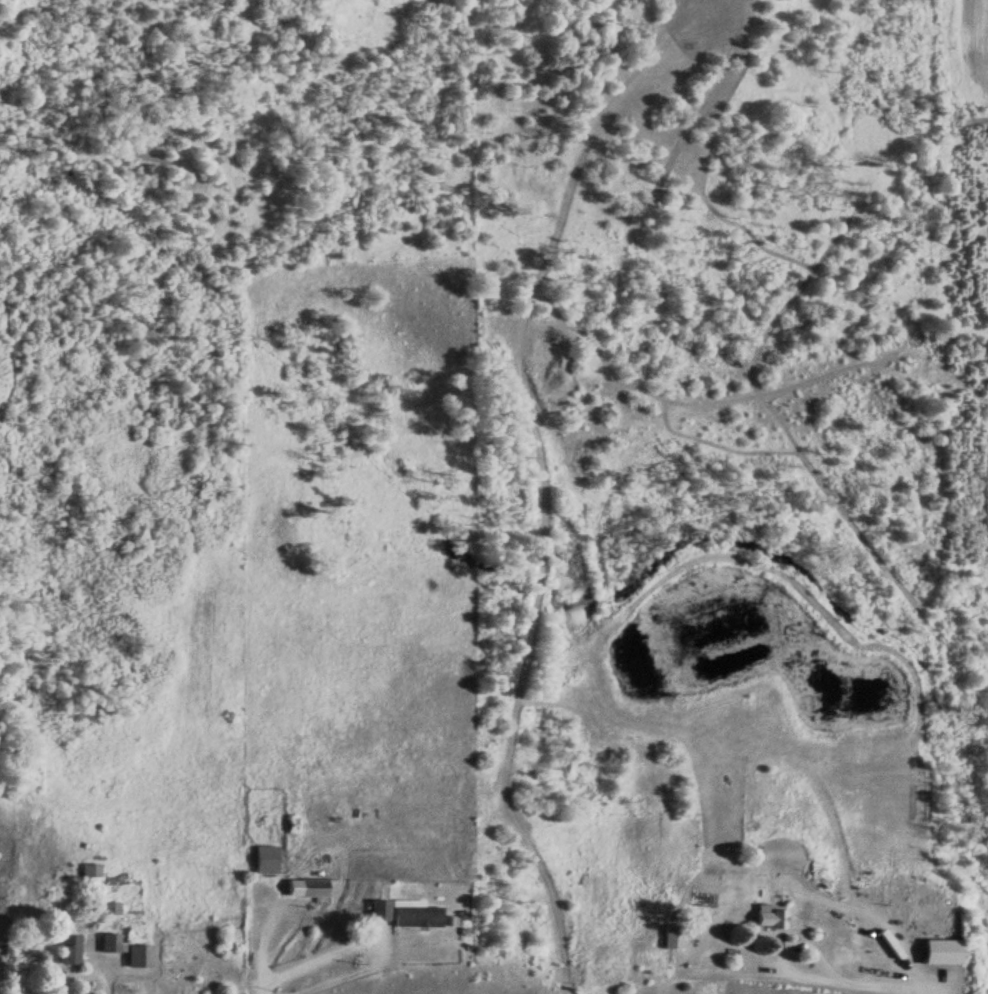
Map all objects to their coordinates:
crop: (961, 47)
building: (266, 861)
building: (90, 871)
building: (307, 889)
building: (109, 909)
building: (378, 910)
building: (414, 915)
building: (769, 919)
building: (120, 940)
building: (67, 950)

